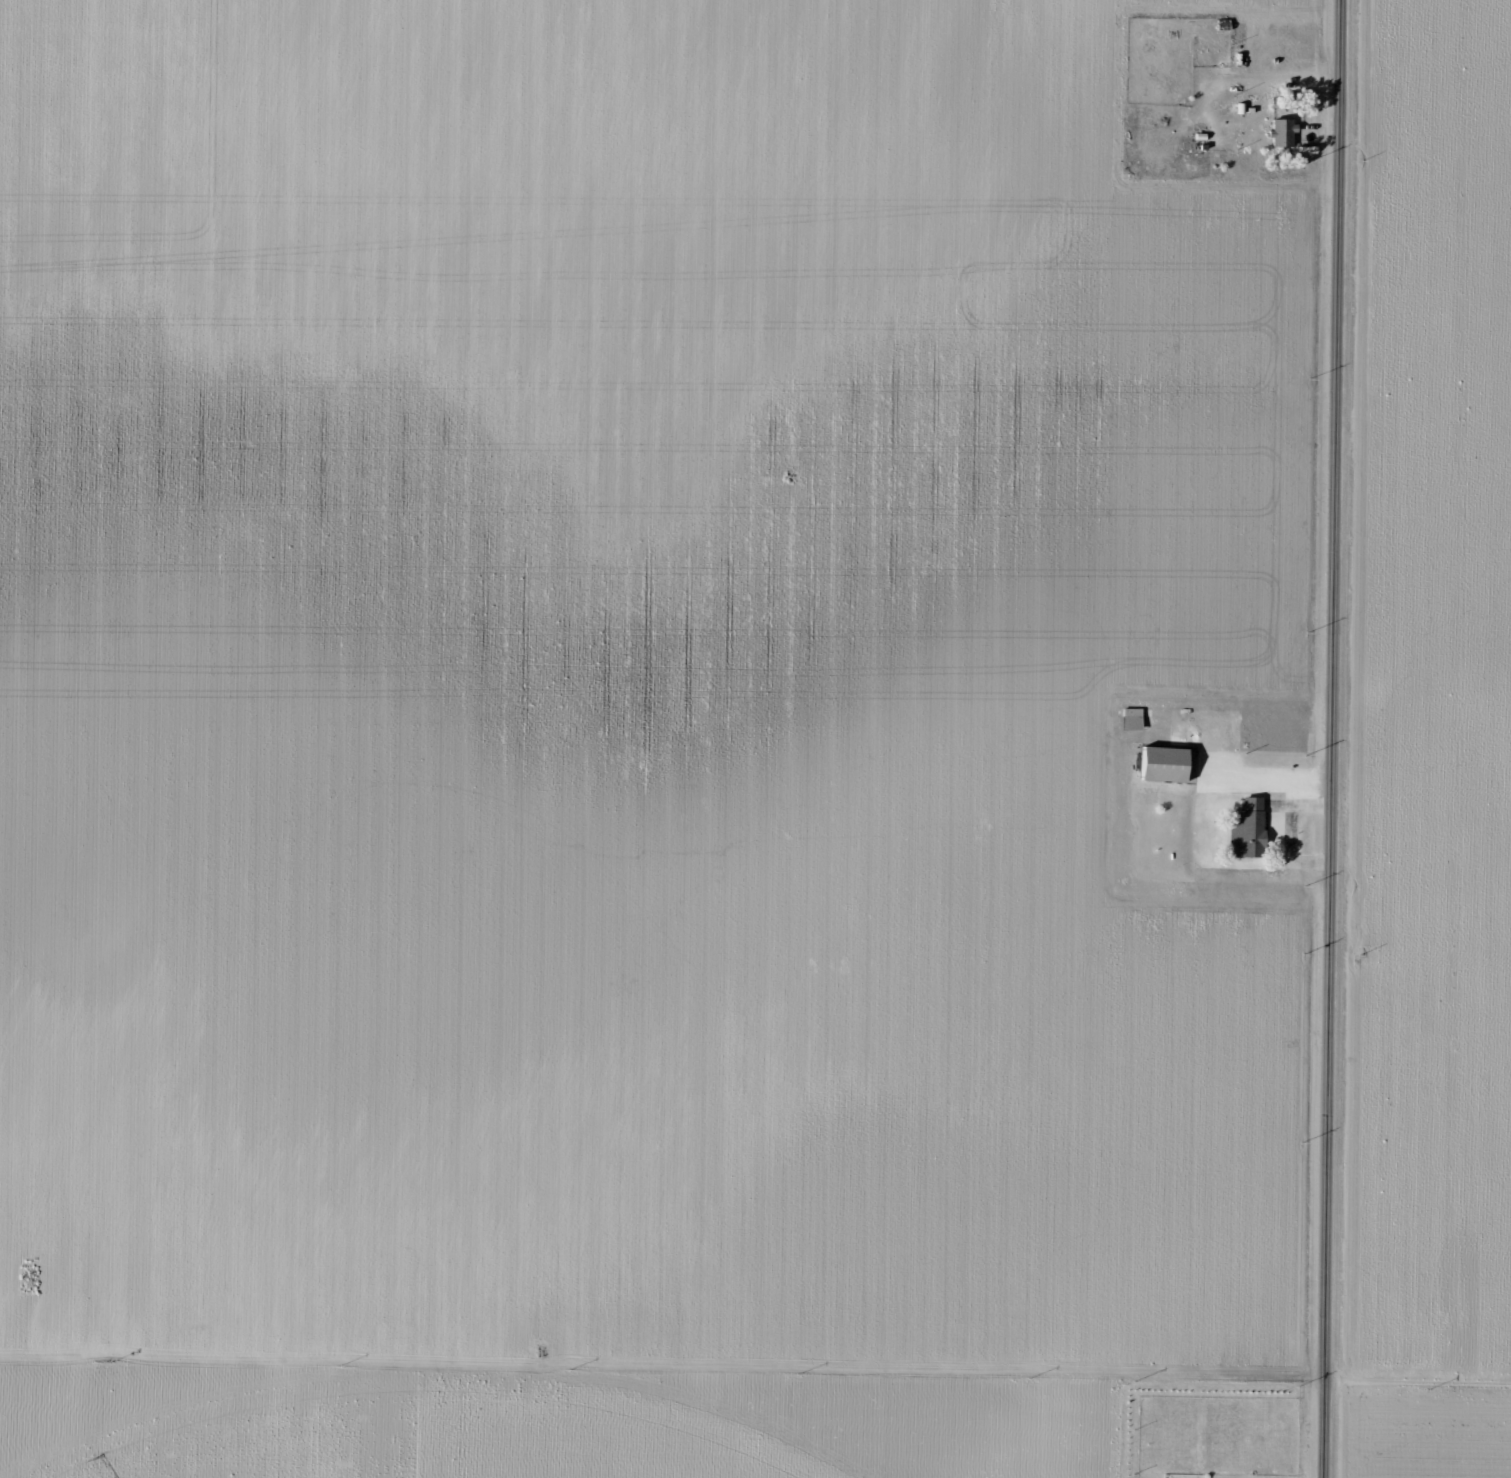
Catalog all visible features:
building: (1280, 132)
road: (670, 383)
road: (1338, 738)
building: (1161, 763)
road: (1430, 1013)
road: (11, 1387)
road: (742, 1399)
road: (479, 1437)
road: (650, 1438)

